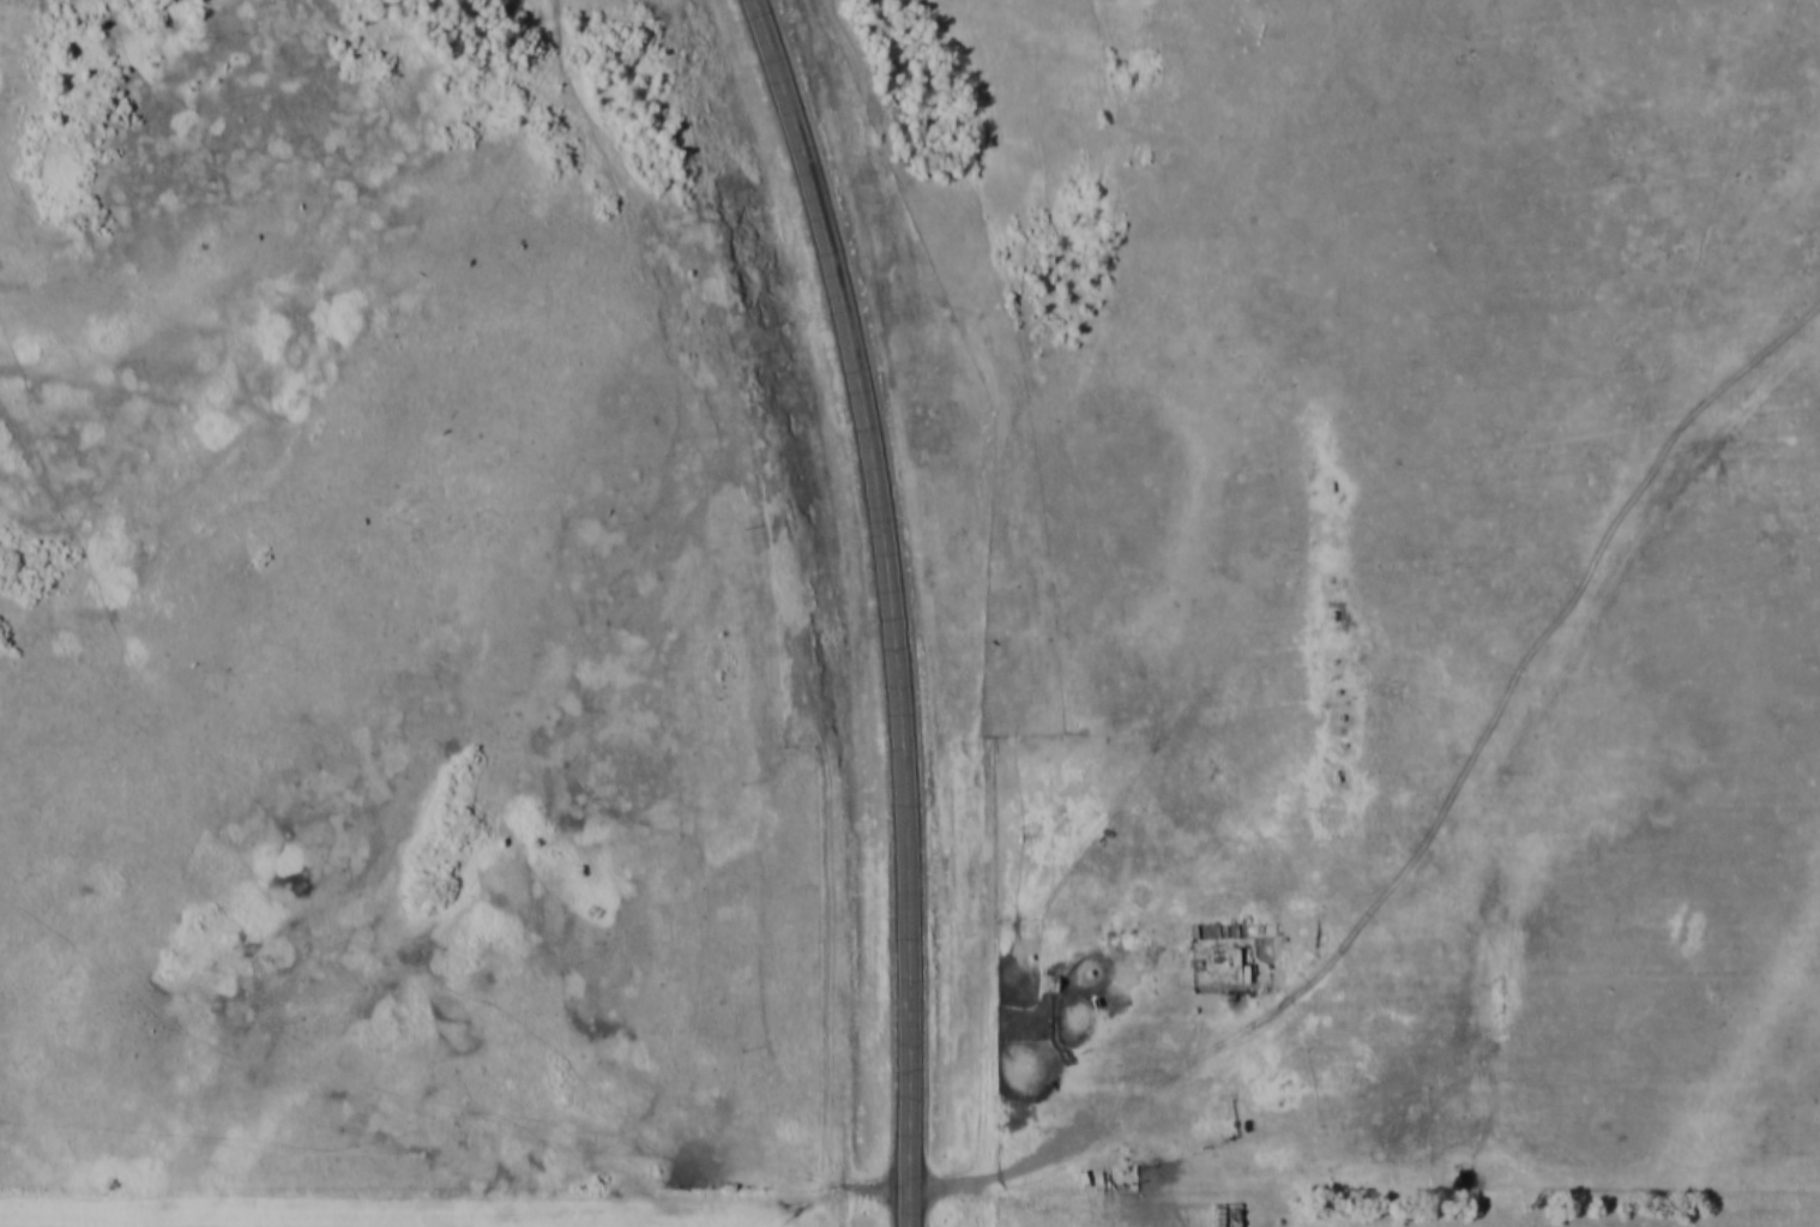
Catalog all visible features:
road: (887, 606)
building: (549, 902)
building: (1188, 927)
building: (1231, 962)
building: (1241, 968)
crop: (253, 1221)

